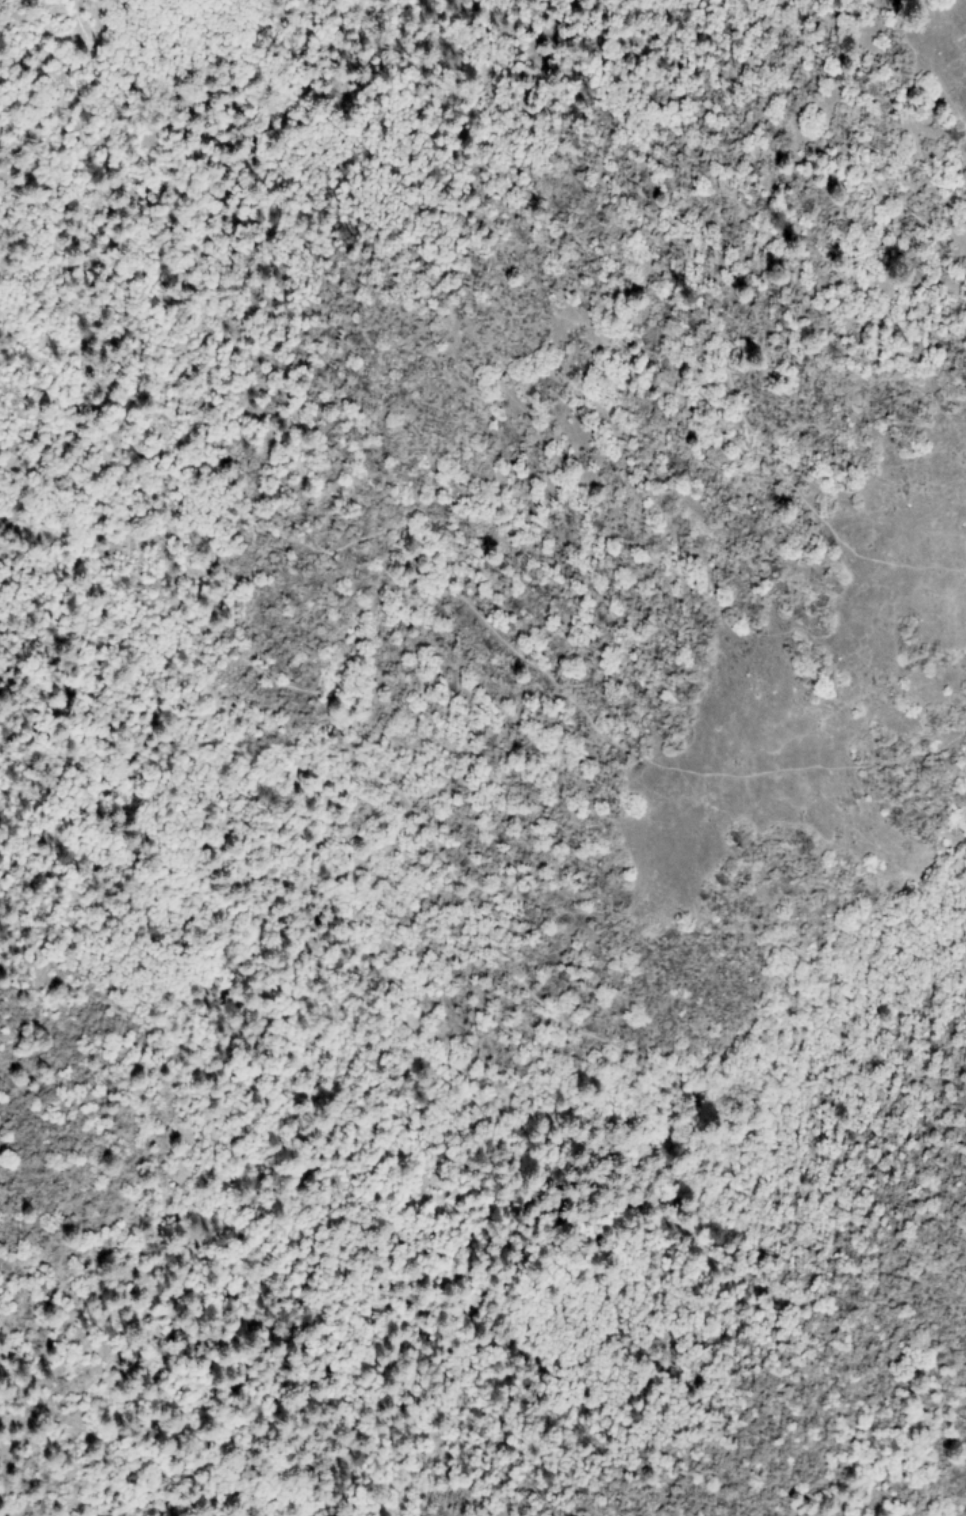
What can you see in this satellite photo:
road: (825, 162)
road: (721, 347)
road: (329, 708)

